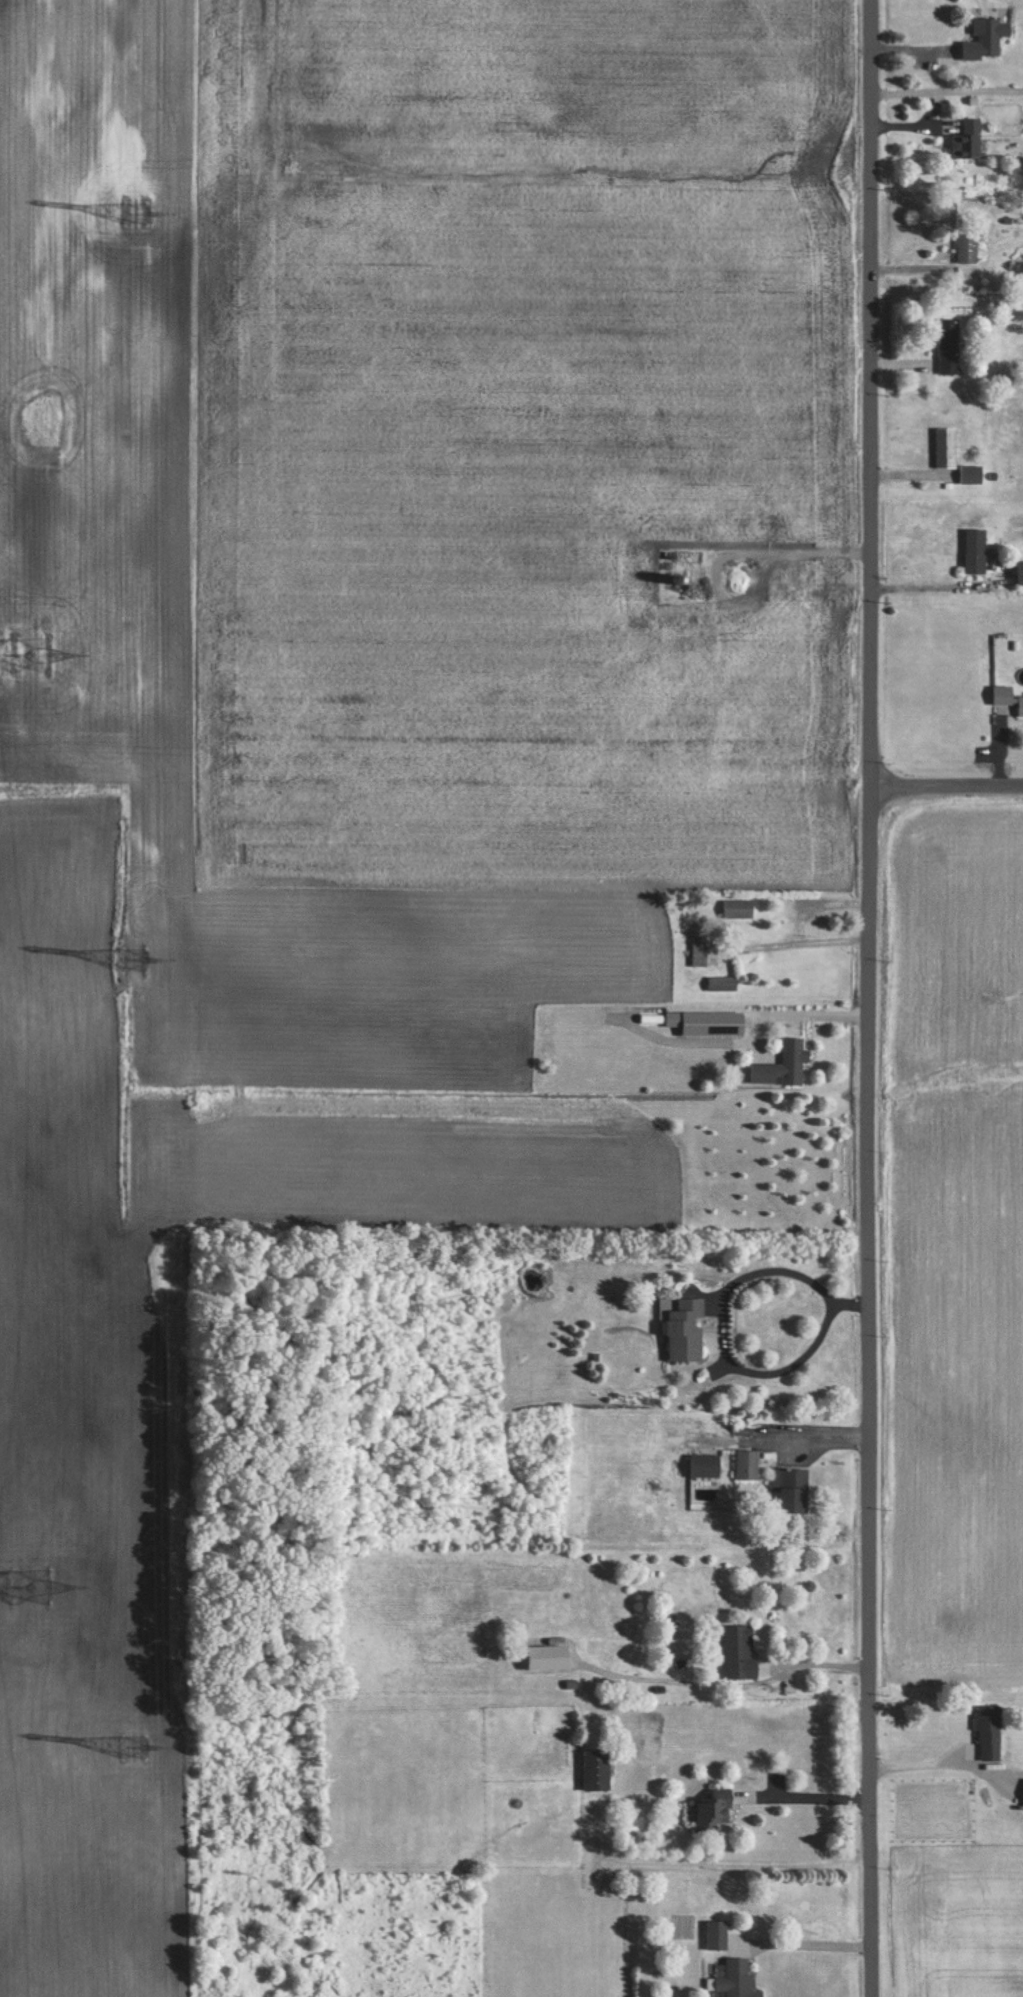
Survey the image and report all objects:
building: (987, 37)
building: (968, 139)
power tower: (139, 214)
building: (969, 248)
building: (950, 346)
building: (947, 447)
building: (973, 473)
building: (735, 524)
building: (977, 550)
building: (1021, 573)
building: (740, 577)
road: (929, 585)
building: (804, 587)
building: (691, 634)
power tower: (27, 647)
building: (1004, 694)
building: (1020, 705)
road: (947, 788)
building: (738, 908)
building: (699, 951)
power tower: (137, 953)
building: (722, 983)
road: (870, 998)
building: (708, 1022)
building: (785, 1065)
road: (720, 1328)
building: (686, 1329)
building: (705, 1464)
building: (748, 1464)
building: (791, 1488)
power tower: (15, 1582)
building: (739, 1650)
road: (732, 1695)
building: (991, 1732)
power tower: (140, 1743)
road: (933, 1765)
building: (596, 1769)
building: (1005, 1795)
road: (813, 1809)
building: (713, 1811)
road: (808, 1945)
building: (733, 1977)

